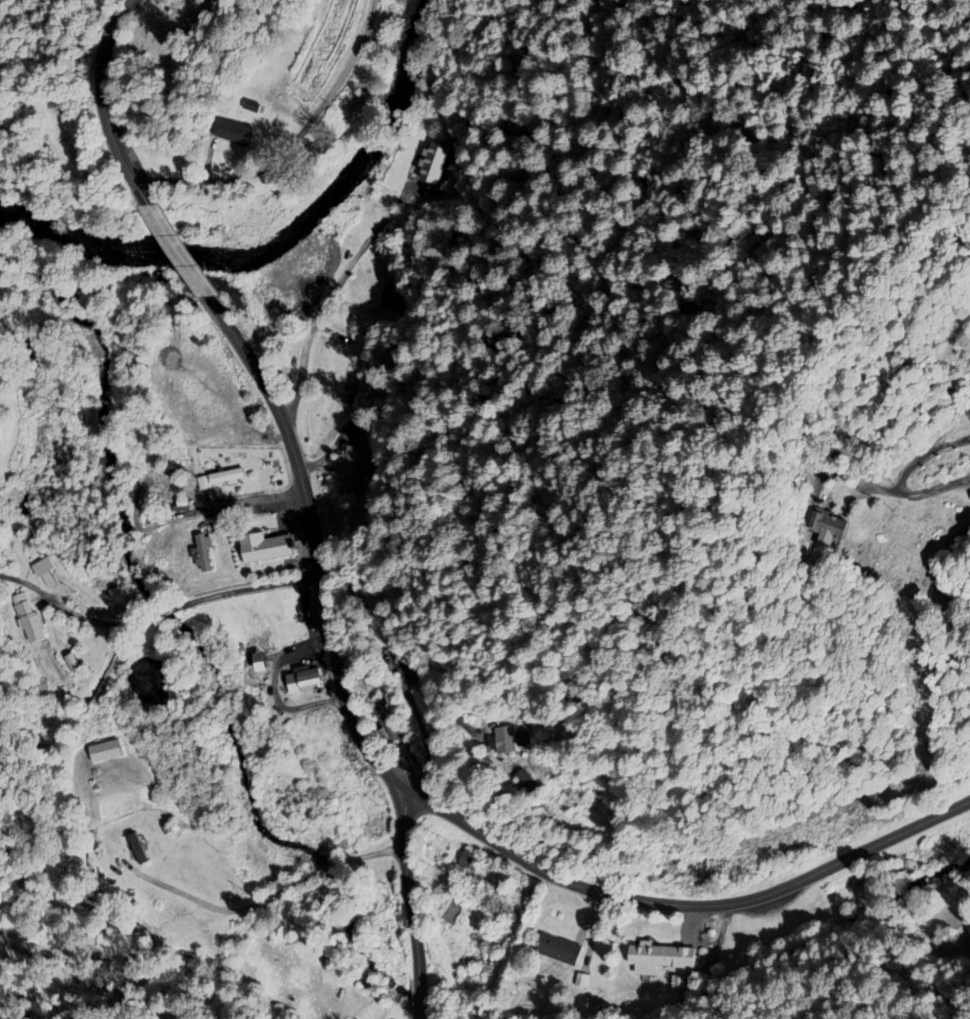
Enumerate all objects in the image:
park: (160, 42)
road: (103, 103)
river: (384, 118)
building: (230, 135)
road: (292, 145)
building: (435, 165)
river: (5, 226)
river: (38, 242)
road: (179, 251)
river: (191, 256)
road: (326, 304)
building: (348, 371)
road: (924, 456)
building: (352, 464)
building: (224, 480)
road: (913, 496)
building: (828, 527)
building: (262, 547)
building: (200, 557)
road: (939, 567)
building: (41, 571)
road: (248, 591)
road: (166, 613)
building: (297, 613)
road: (74, 617)
building: (28, 626)
building: (256, 638)
building: (389, 658)
building: (307, 683)
building: (382, 725)
building: (501, 742)
road: (436, 810)
building: (135, 851)
building: (454, 855)
road: (408, 887)
building: (558, 951)
building: (650, 959)
road: (419, 1002)

